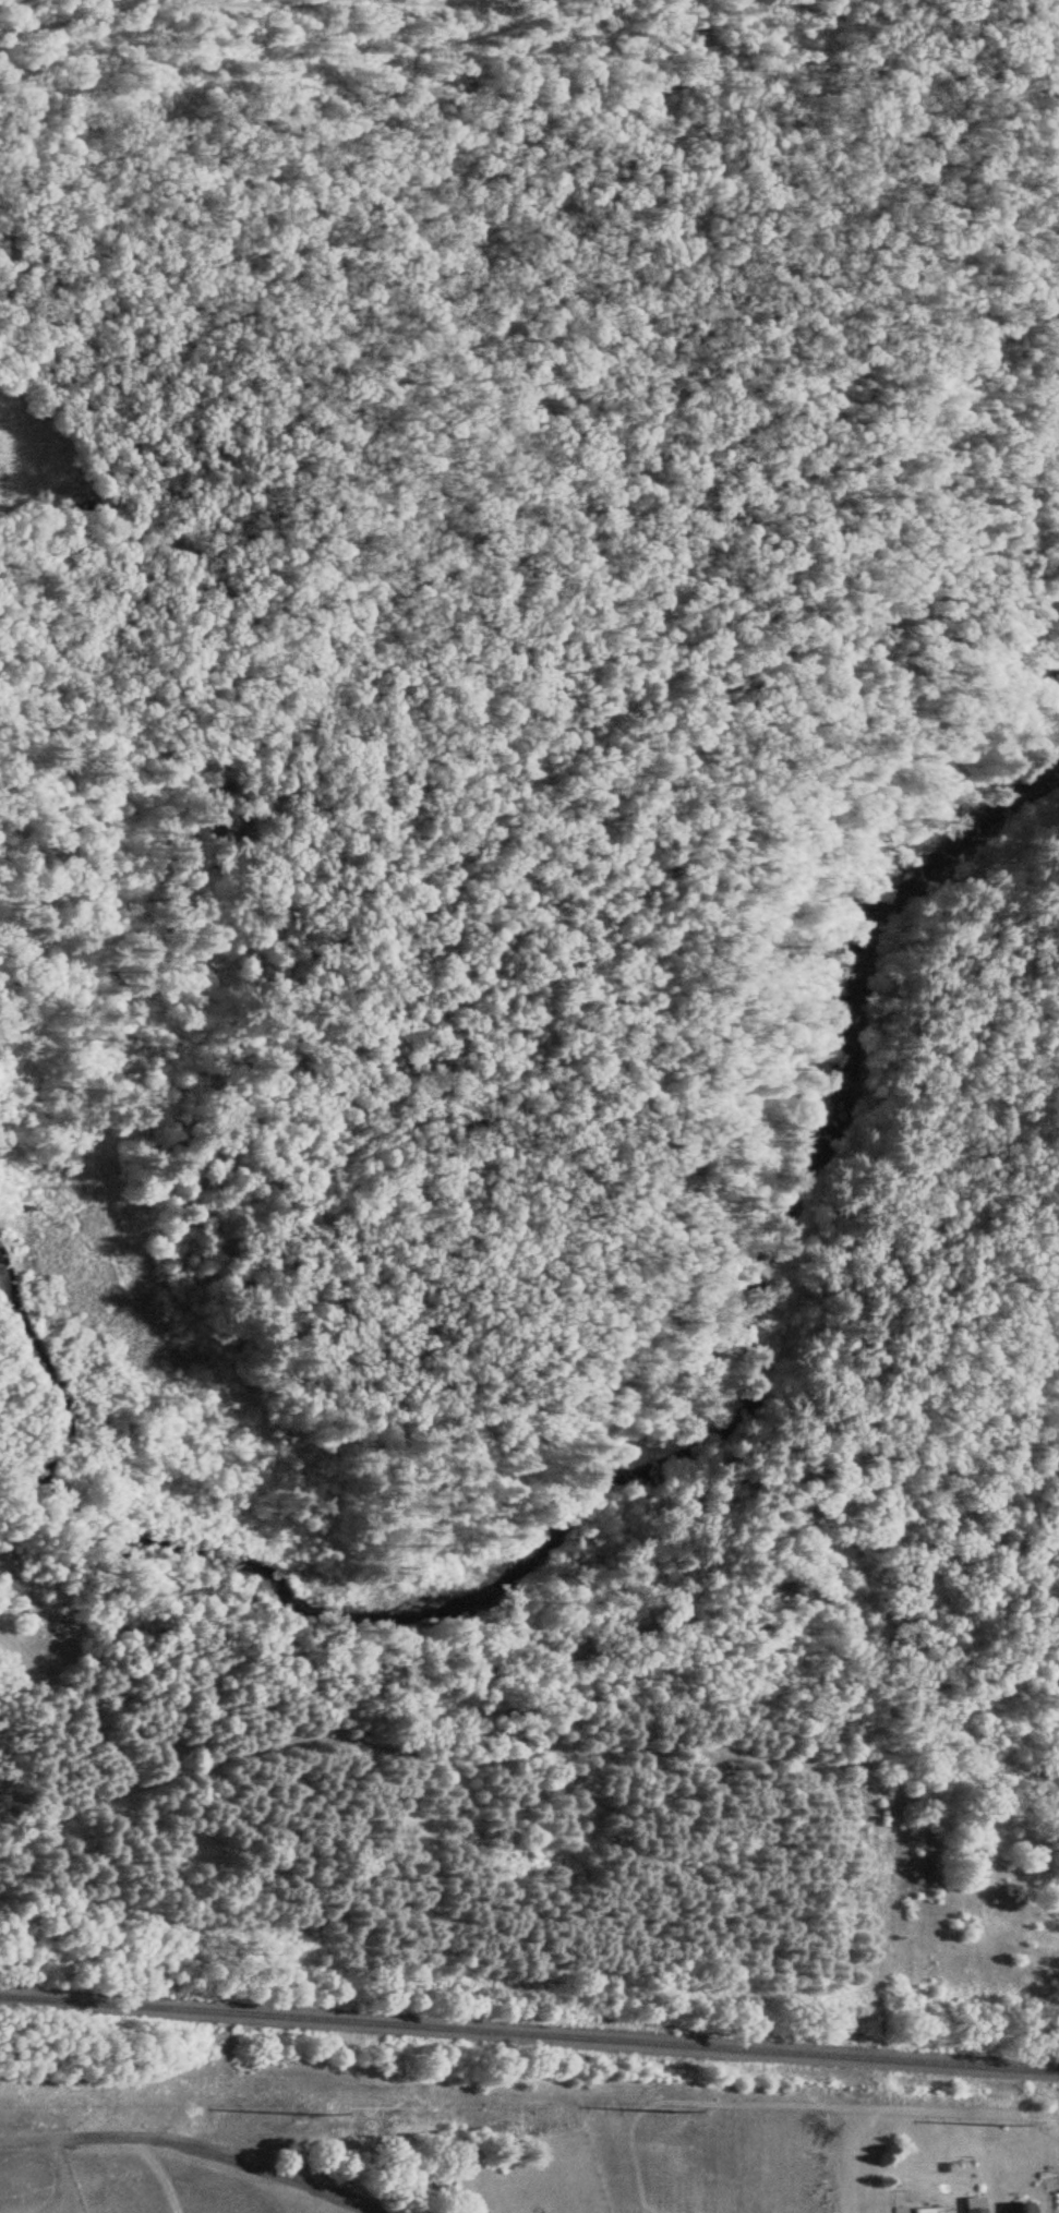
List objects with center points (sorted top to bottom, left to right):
railway: (529, 2033)
power tower: (669, 2112)
power tower: (310, 2115)
power tower: (999, 2124)
road: (194, 2148)
parking lot: (16, 2165)
building: (1012, 2209)
building: (968, 2211)

